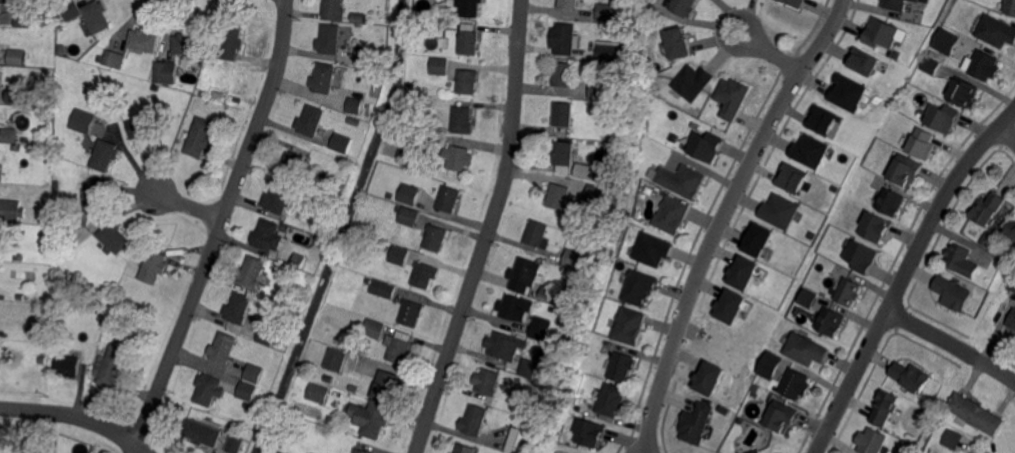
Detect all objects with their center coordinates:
building: (915, 0)
building: (924, 0)
building: (792, 2)
building: (569, 4)
building: (893, 4)
building: (333, 6)
building: (680, 7)
building: (1009, 7)
building: (469, 8)
building: (72, 11)
building: (606, 11)
building: (97, 16)
building: (361, 18)
building: (22, 19)
road: (748, 25)
building: (345, 30)
building: (995, 32)
building: (879, 33)
building: (565, 37)
building: (330, 39)
building: (143, 40)
building: (231, 41)
building: (944, 41)
building: (677, 42)
building: (187, 43)
building: (468, 44)
building: (609, 51)
building: (366, 56)
building: (17, 57)
building: (111, 60)
building: (863, 61)
building: (929, 66)
building: (983, 66)
building: (439, 68)
building: (340, 72)
building: (165, 73)
building: (563, 74)
building: (322, 79)
building: (374, 79)
building: (691, 80)
building: (469, 81)
building: (409, 87)
building: (598, 90)
building: (846, 92)
building: (962, 92)
building: (17, 96)
building: (730, 98)
building: (355, 105)
building: (614, 112)
building: (563, 114)
building: (940, 118)
building: (822, 119)
building: (463, 120)
building: (83, 121)
building: (311, 121)
building: (354, 121)
building: (141, 127)
road: (1006, 133)
building: (9, 135)
building: (199, 137)
building: (919, 143)
building: (341, 144)
building: (703, 145)
building: (809, 150)
building: (564, 153)
building: (402, 154)
building: (104, 155)
building: (457, 158)
building: (293, 165)
building: (587, 170)
building: (903, 170)
building: (610, 177)
building: (790, 177)
building: (680, 181)
building: (411, 194)
building: (593, 194)
building: (389, 195)
building: (559, 196)
building: (279, 197)
building: (447, 199)
building: (95, 200)
building: (889, 202)
road: (189, 206)
building: (986, 209)
building: (11, 210)
building: (778, 210)
building: (410, 216)
building: (669, 216)
road: (722, 216)
road: (218, 228)
building: (873, 228)
building: (1010, 230)
road: (489, 231)
building: (266, 234)
building: (536, 234)
building: (114, 237)
building: (436, 237)
building: (757, 239)
building: (986, 239)
building: (652, 248)
building: (398, 254)
building: (859, 257)
building: (17, 258)
building: (573, 260)
building: (960, 260)
building: (297, 262)
building: (154, 266)
building: (252, 271)
building: (742, 271)
building: (525, 273)
building: (424, 274)
road: (904, 274)
building: (1012, 283)
building: (637, 288)
building: (383, 289)
building: (846, 293)
building: (951, 293)
building: (546, 294)
building: (805, 298)
building: (730, 305)
building: (512, 307)
building: (239, 308)
building: (268, 308)
building: (412, 312)
building: (828, 322)
building: (1012, 322)
building: (111, 323)
building: (627, 326)
building: (375, 328)
building: (357, 330)
building: (541, 332)
building: (38, 336)
building: (267, 337)
building: (498, 346)
building: (224, 348)
building: (397, 350)
building: (803, 350)
road: (950, 350)
building: (336, 359)
building: (68, 365)
building: (112, 365)
building: (767, 366)
building: (619, 367)
building: (528, 368)
building: (253, 374)
building: (910, 377)
building: (488, 382)
building: (793, 384)
building: (387, 386)
building: (354, 388)
building: (754, 388)
building: (208, 390)
building: (247, 392)
building: (317, 394)
building: (608, 400)
building: (918, 402)
building: (248, 405)
building: (882, 408)
building: (742, 413)
building: (976, 413)
road: (77, 416)
building: (778, 417)
building: (373, 418)
building: (475, 420)
building: (329, 421)
building: (693, 423)
building: (203, 432)
building: (586, 433)
building: (909, 437)
building: (952, 440)
building: (518, 441)
building: (870, 441)
building: (235, 444)
building: (465, 448)
building: (361, 451)
building: (753, 451)

